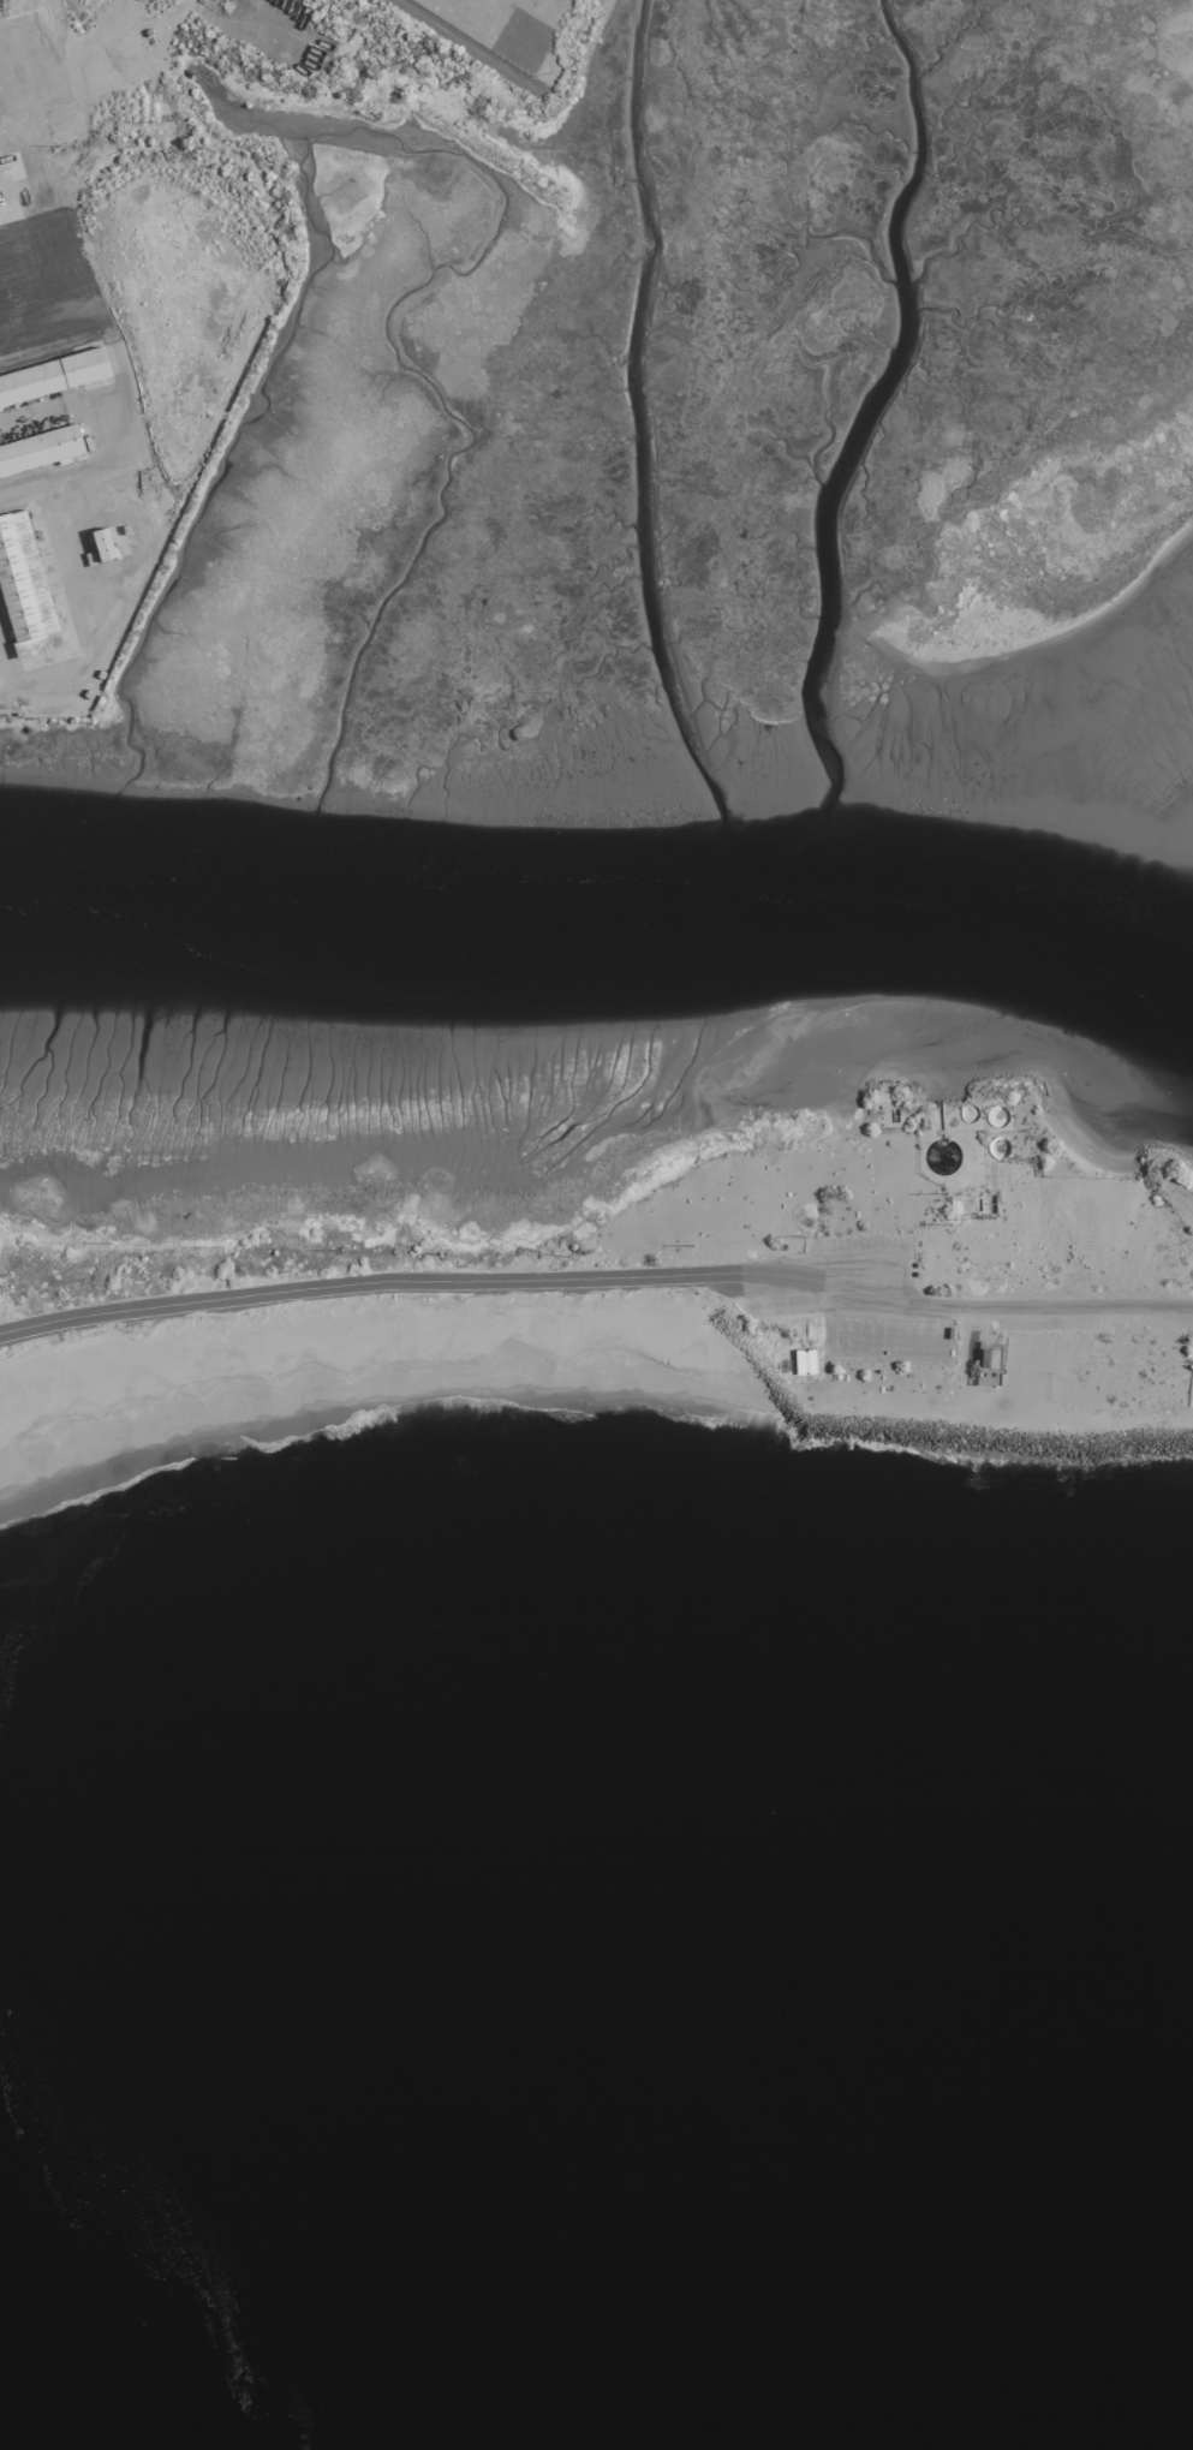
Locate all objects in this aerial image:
building: (52, 375)
building: (38, 448)
building: (99, 543)
building: (23, 588)
airport: (601, 797)
road: (598, 1274)
building: (986, 1357)
building: (803, 1360)

